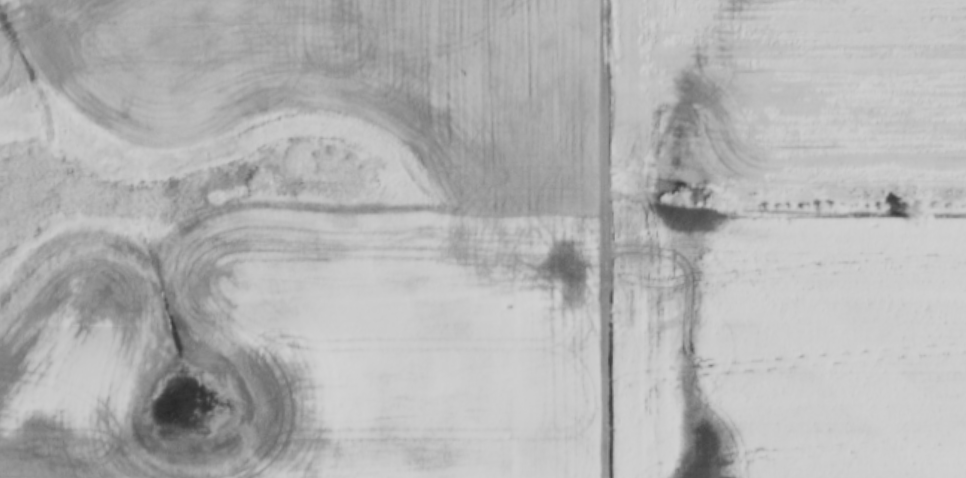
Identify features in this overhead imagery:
road: (603, 239)

